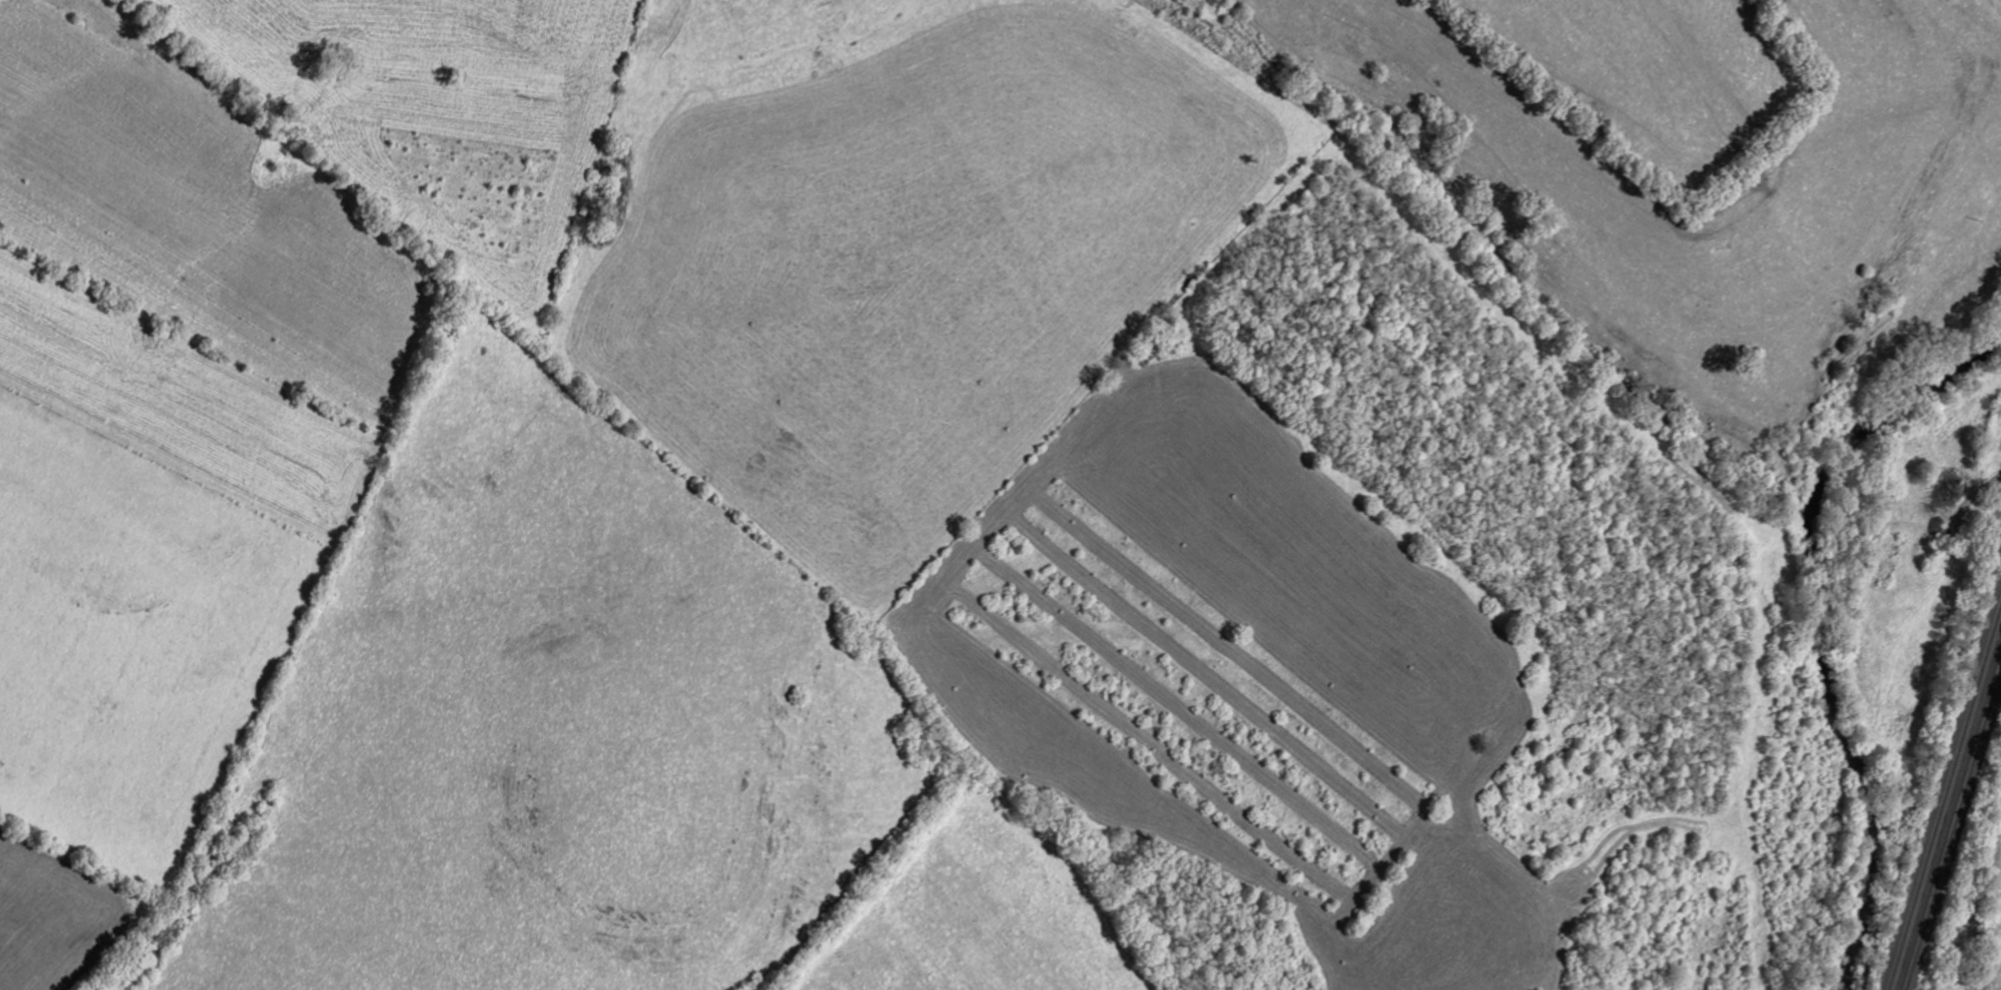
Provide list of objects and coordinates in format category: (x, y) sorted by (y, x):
road: (1963, 524)
road: (1996, 528)
road: (1953, 680)
railway: (1944, 793)
railway: (1948, 825)

